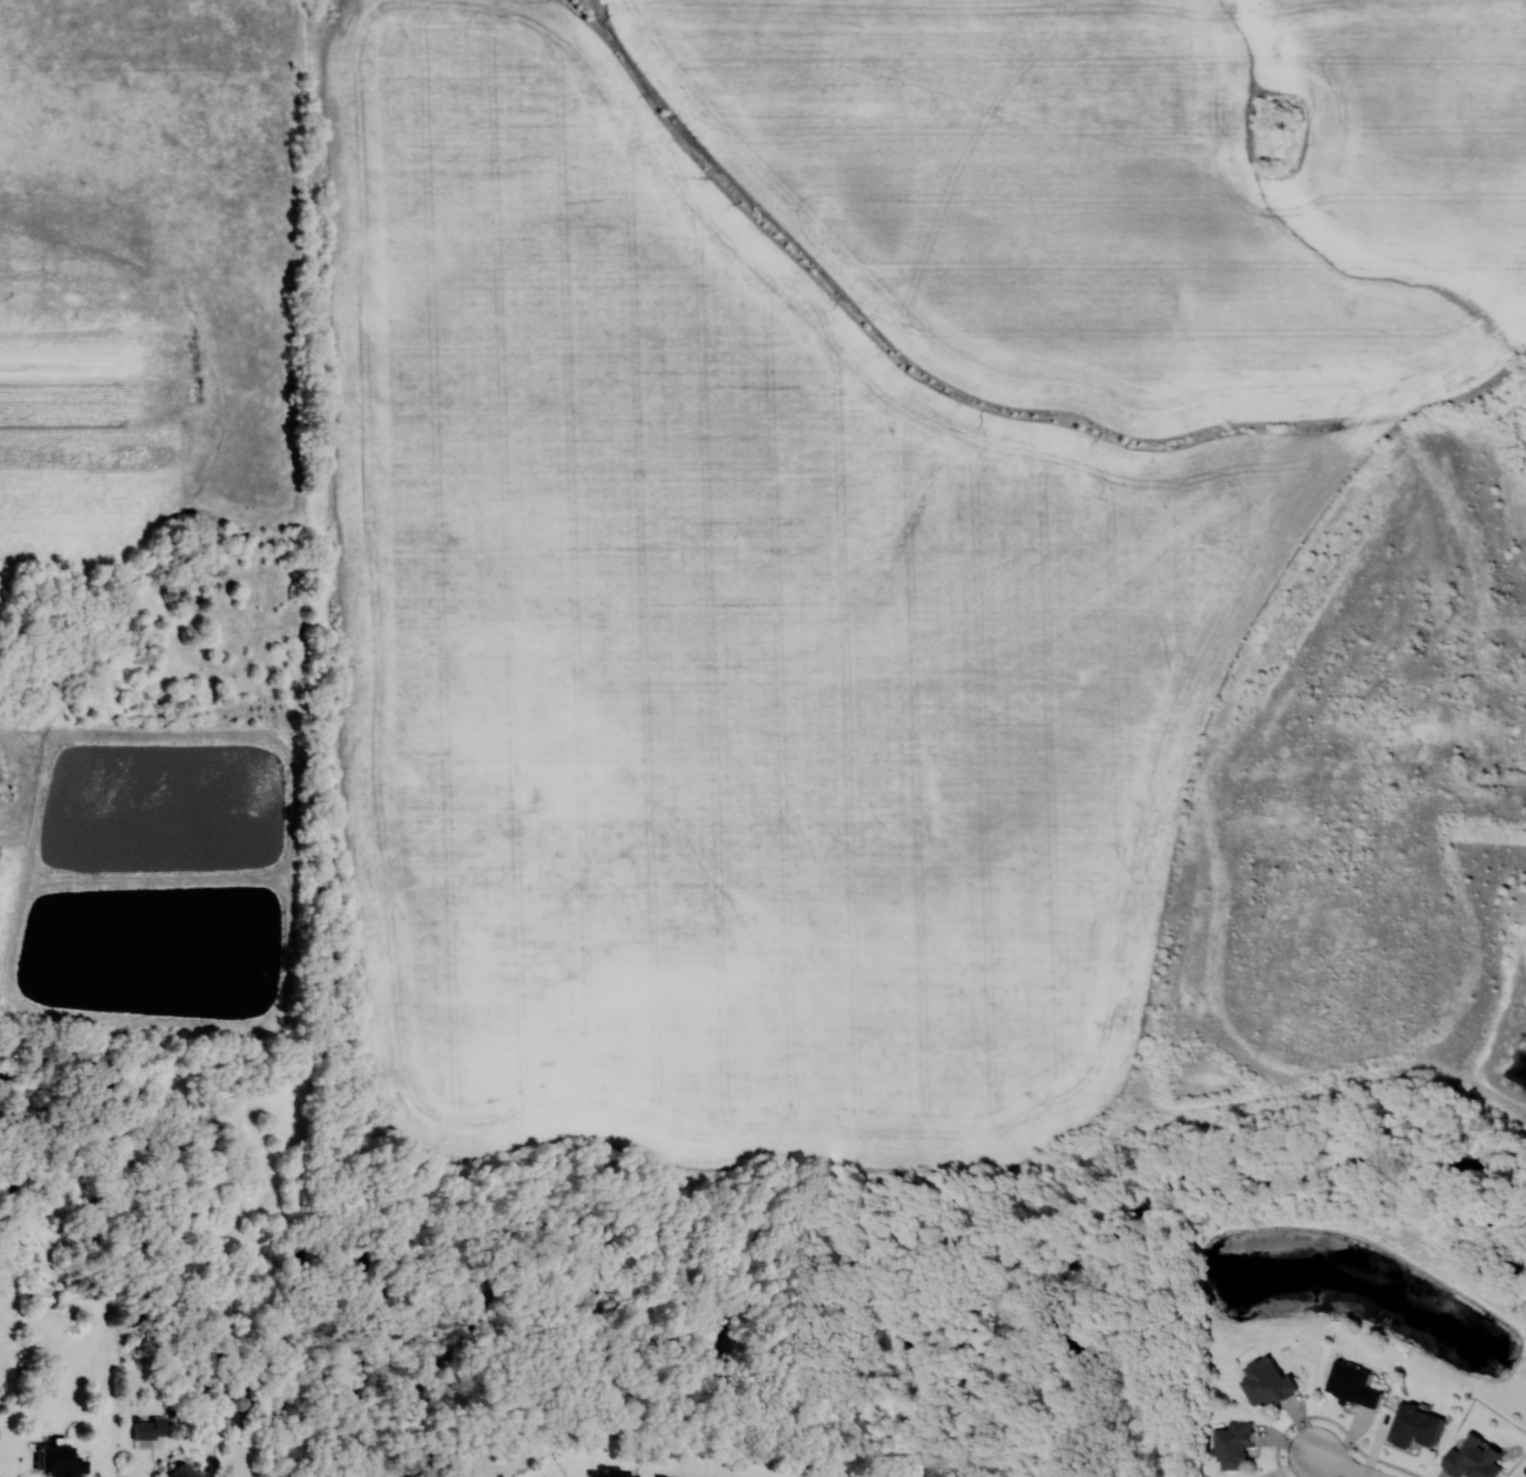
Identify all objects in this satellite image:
building: (1264, 1381)
building: (1351, 1383)
road: (1334, 1421)
building: (1412, 1425)
building: (146, 1430)
building: (1230, 1444)
building: (62, 1462)
road: (1345, 1464)
building: (185, 1471)
building: (616, 1473)

